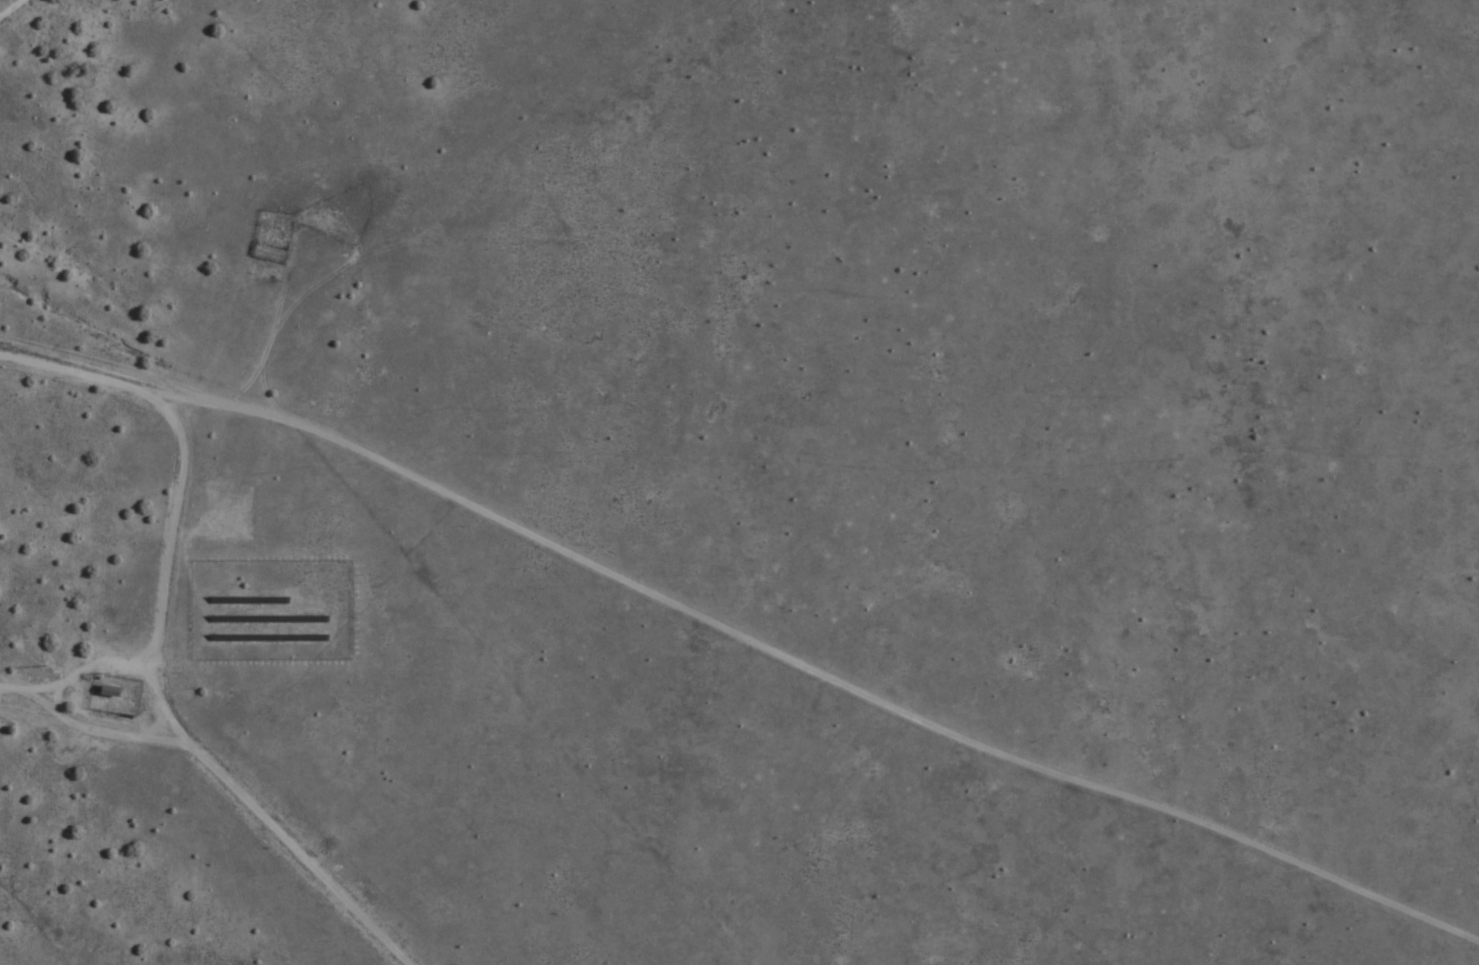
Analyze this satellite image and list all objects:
building: (111, 691)

